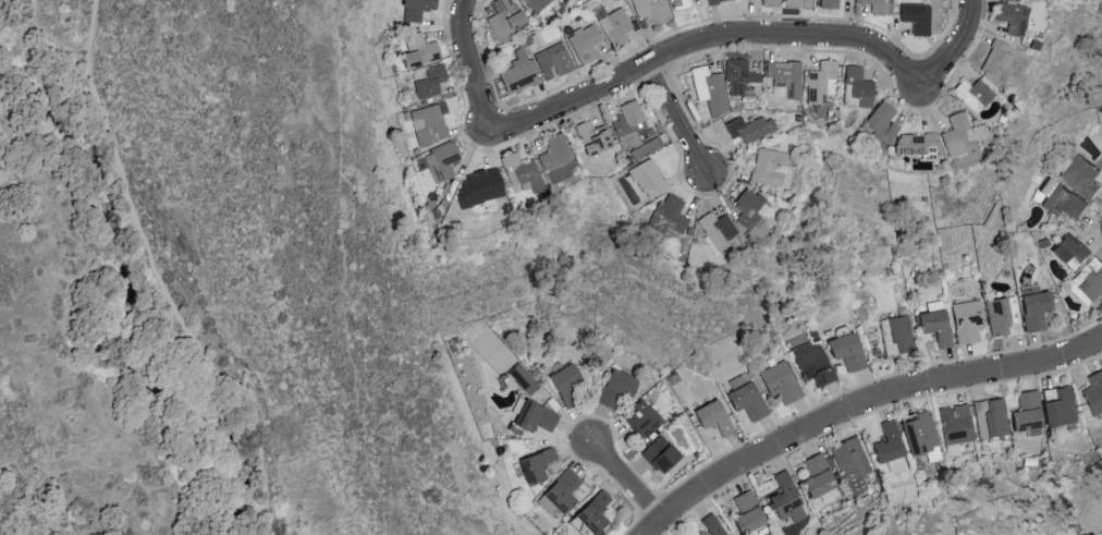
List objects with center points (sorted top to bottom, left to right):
building: (718, 1)
building: (771, 3)
building: (537, 4)
building: (793, 4)
building: (828, 4)
building: (679, 5)
building: (877, 5)
building: (418, 10)
building: (652, 11)
building: (505, 19)
building: (916, 19)
building: (1012, 20)
building: (616, 28)
road: (710, 39)
building: (586, 45)
road: (952, 48)
building: (419, 53)
building: (994, 60)
building: (553, 62)
road: (470, 73)
building: (519, 78)
building: (785, 78)
building: (740, 80)
building: (429, 84)
building: (822, 85)
building: (710, 90)
building: (855, 90)
building: (975, 95)
road: (676, 121)
building: (883, 121)
building: (429, 125)
building: (628, 125)
building: (748, 130)
building: (956, 137)
building: (593, 141)
building: (916, 146)
building: (554, 156)
building: (441, 165)
building: (769, 169)
building: (521, 173)
building: (1079, 175)
building: (647, 179)
building: (478, 192)
building: (1057, 198)
building: (751, 210)
building: (668, 218)
building: (717, 233)
building: (1068, 251)
building: (1089, 280)
road: (161, 282)
park: (206, 294)
building: (1032, 311)
building: (1001, 316)
building: (965, 321)
building: (932, 327)
building: (895, 335)
building: (845, 352)
building: (810, 364)
building: (521, 378)
building: (562, 380)
building: (737, 380)
building: (616, 382)
building: (779, 382)
building: (1093, 392)
building: (745, 400)
road: (861, 406)
building: (1058, 408)
building: (1024, 413)
building: (532, 417)
building: (710, 417)
building: (638, 418)
building: (989, 418)
building: (954, 424)
building: (919, 435)
building: (885, 443)
building: (658, 454)
building: (850, 464)
building: (894, 464)
building: (534, 465)
building: (817, 479)
road: (628, 483)
building: (559, 493)
building: (784, 499)
building: (590, 512)
building: (744, 513)
building: (709, 525)

